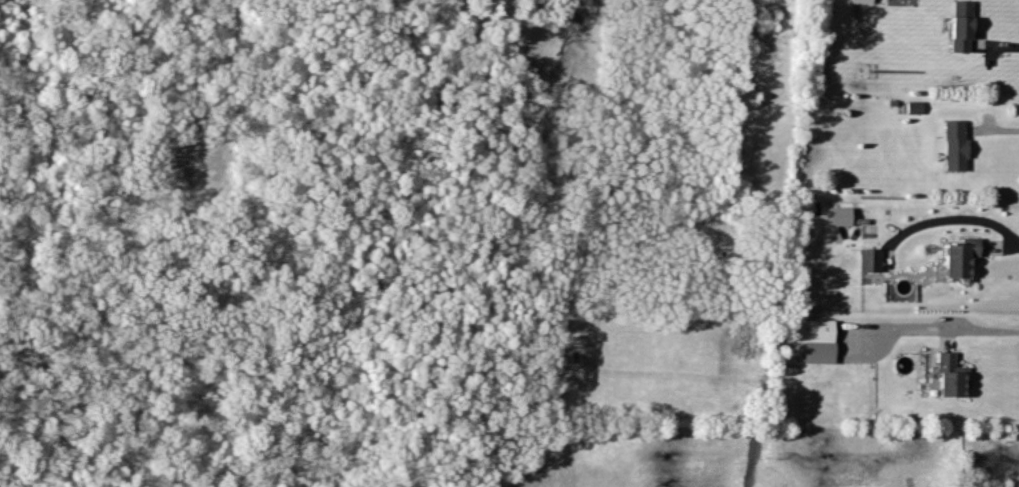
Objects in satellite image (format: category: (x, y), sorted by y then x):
building: (964, 28)
road: (996, 46)
building: (916, 109)
road: (995, 130)
building: (958, 147)
building: (842, 218)
road: (962, 220)
building: (963, 260)
building: (872, 262)
road: (929, 331)
building: (818, 332)
building: (954, 377)

